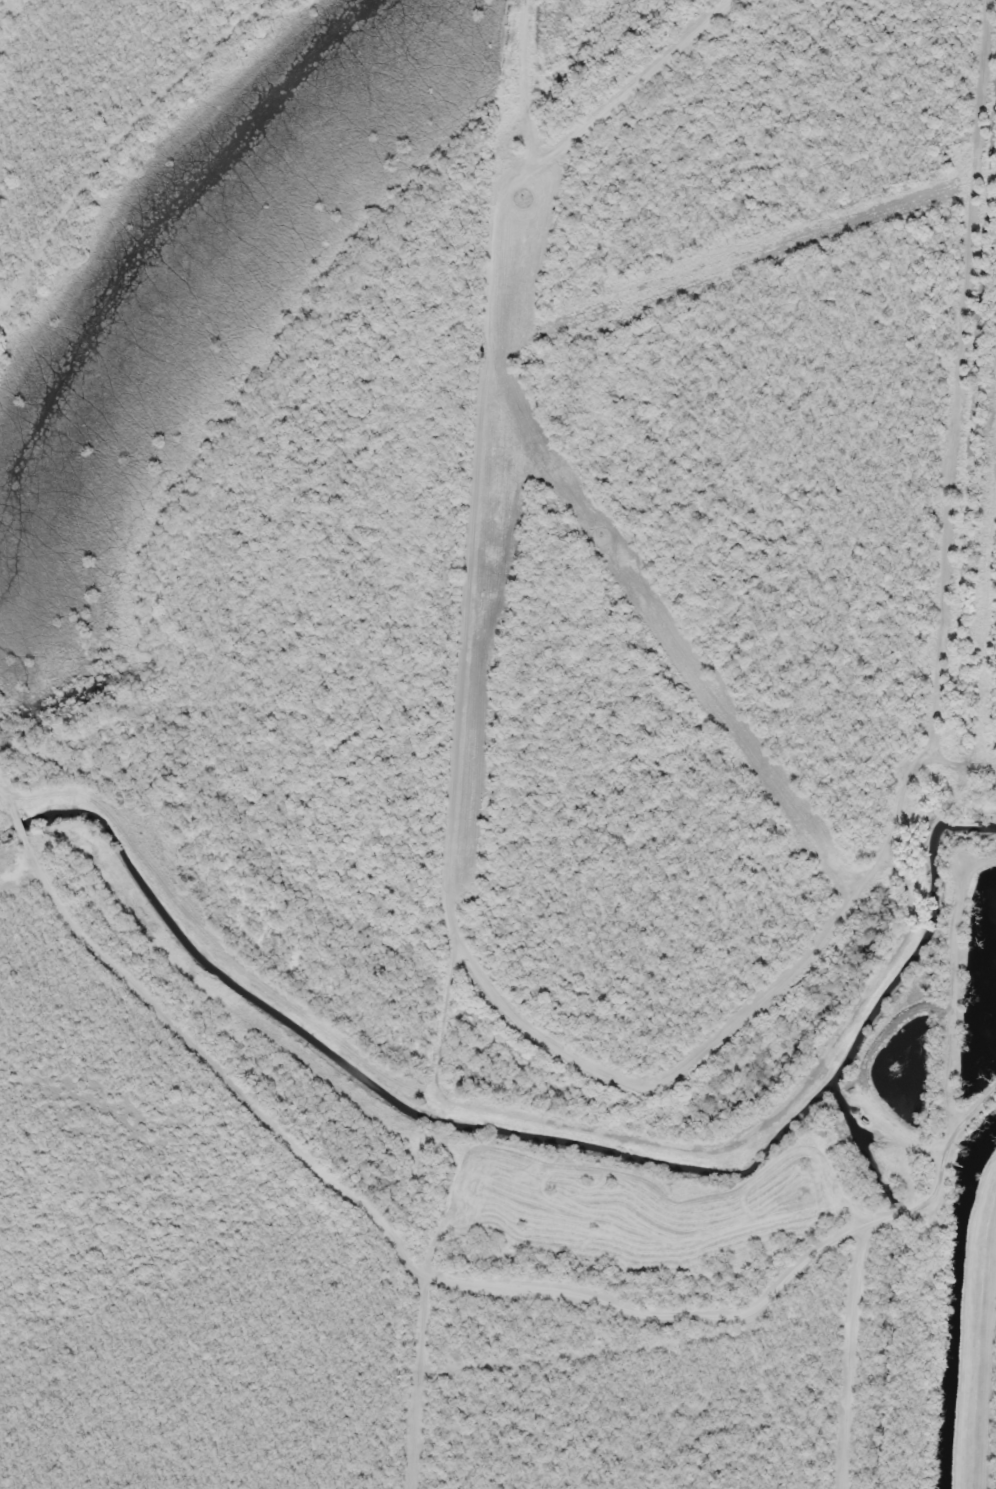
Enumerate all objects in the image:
road: (116, 158)
road: (112, 748)
road: (49, 865)
road: (287, 1167)

